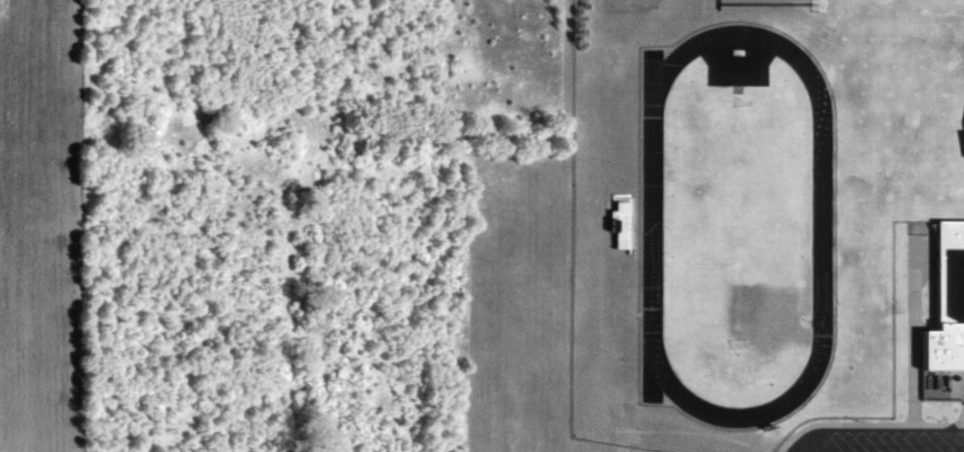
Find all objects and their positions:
building: (624, 216)
building: (948, 315)

